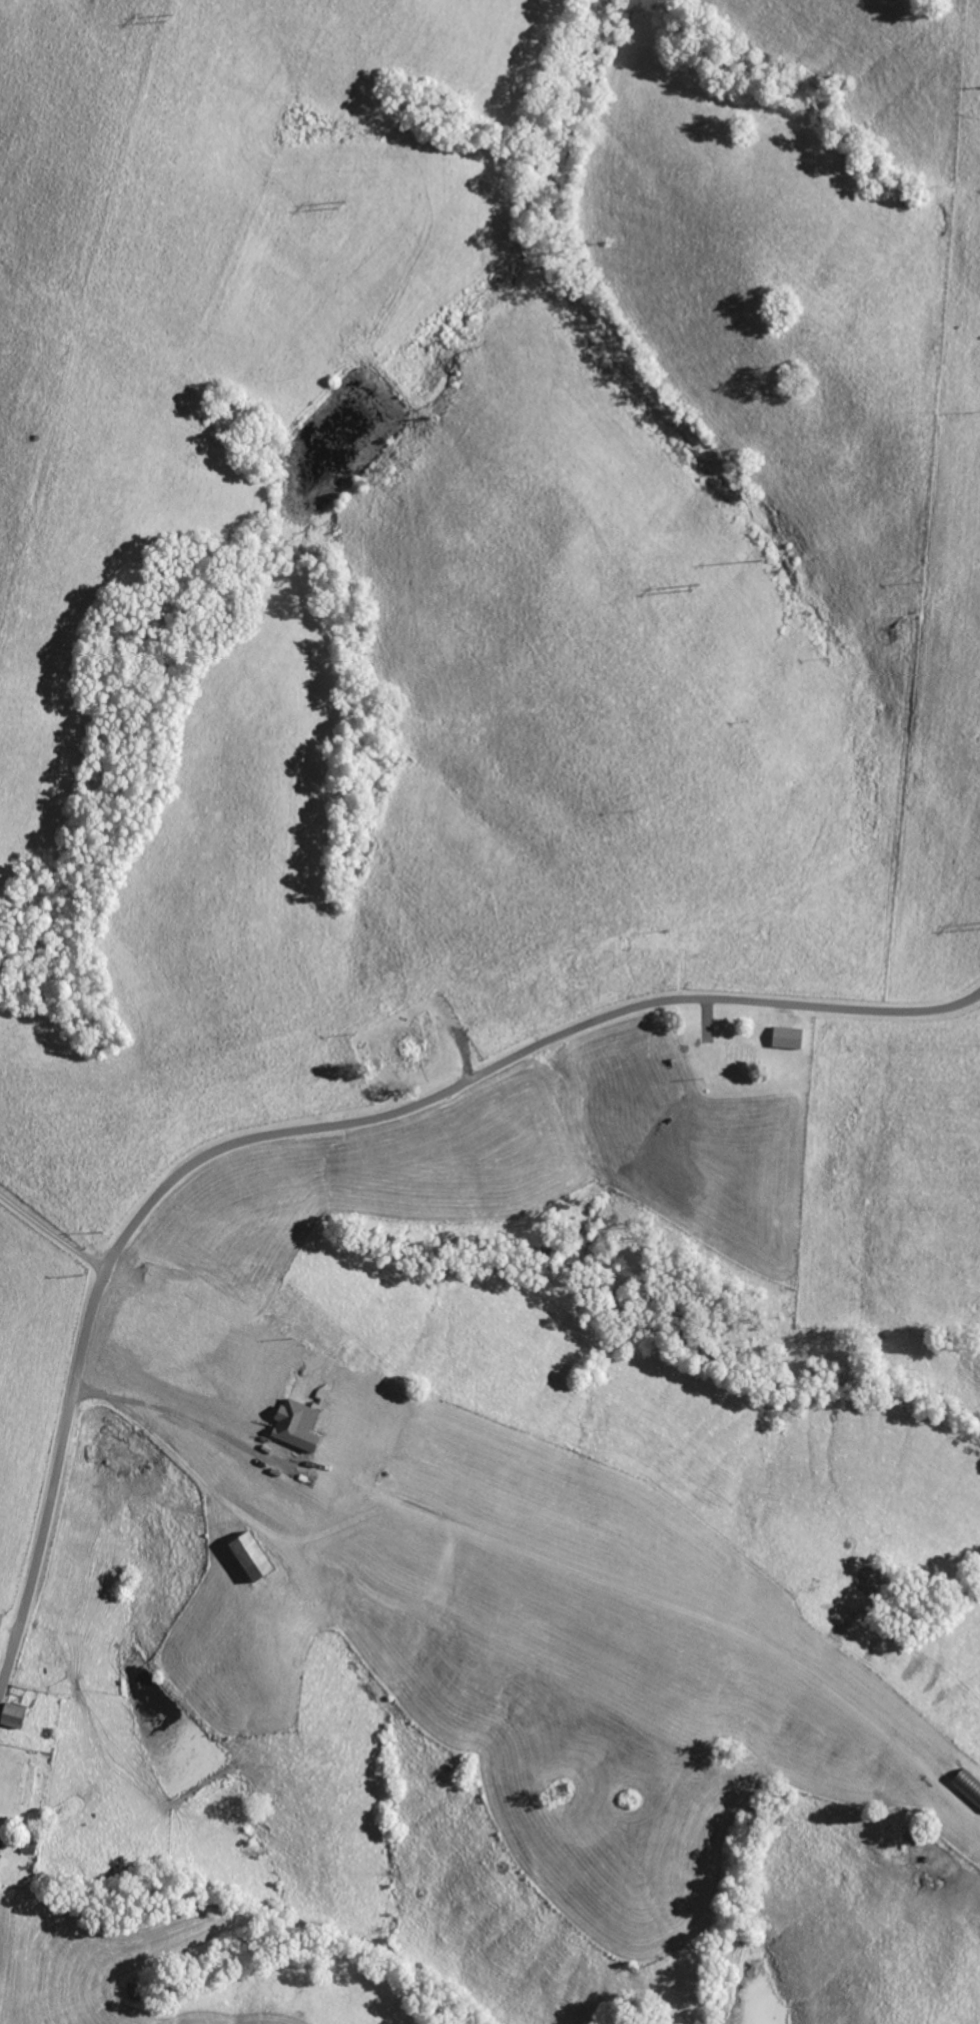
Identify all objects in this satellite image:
road: (107, 378)
building: (785, 1037)
road: (111, 1071)
road: (333, 1119)
road: (45, 1233)
road: (320, 1435)
building: (247, 1554)
building: (0, 1611)
building: (11, 1714)
building: (0, 1840)

